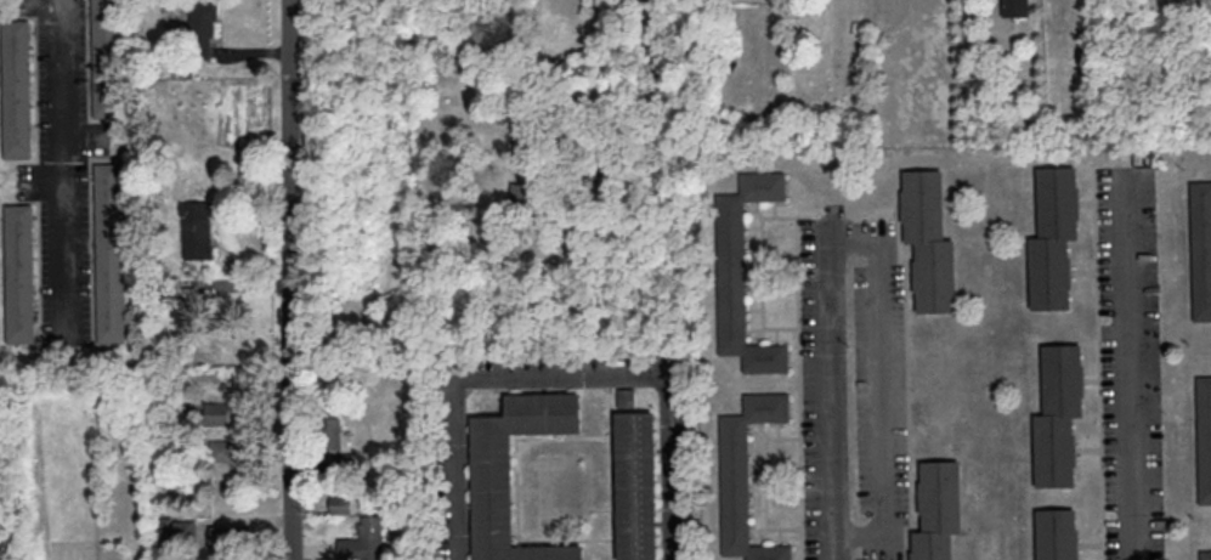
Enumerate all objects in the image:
building: (1014, 7)
building: (202, 29)
building: (107, 57)
building: (17, 87)
road: (61, 160)
building: (521, 192)
building: (198, 228)
building: (1053, 237)
building: (928, 241)
road: (871, 247)
building: (1201, 248)
building: (111, 250)
building: (19, 272)
building: (743, 272)
road: (289, 279)
building: (387, 327)
road: (204, 350)
road: (1136, 364)
road: (562, 373)
building: (626, 396)
building: (221, 412)
building: (1059, 414)
building: (329, 426)
building: (1204, 436)
building: (221, 449)
building: (747, 475)
building: (636, 485)
building: (492, 488)
building: (938, 509)
building: (1057, 533)
building: (233, 536)
building: (366, 539)
road: (842, 543)
building: (1205, 554)

